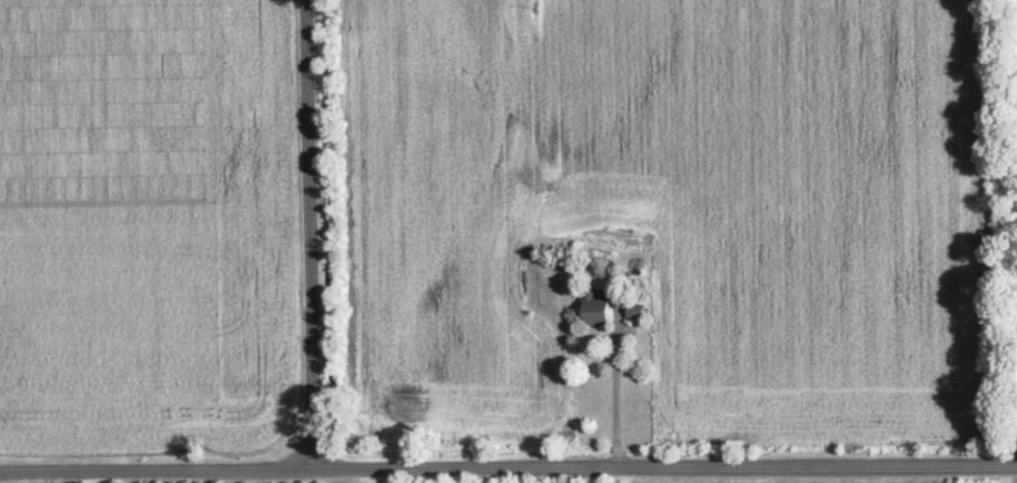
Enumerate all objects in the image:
road: (301, 232)
building: (593, 308)
building: (635, 309)
road: (615, 392)
road: (508, 460)

